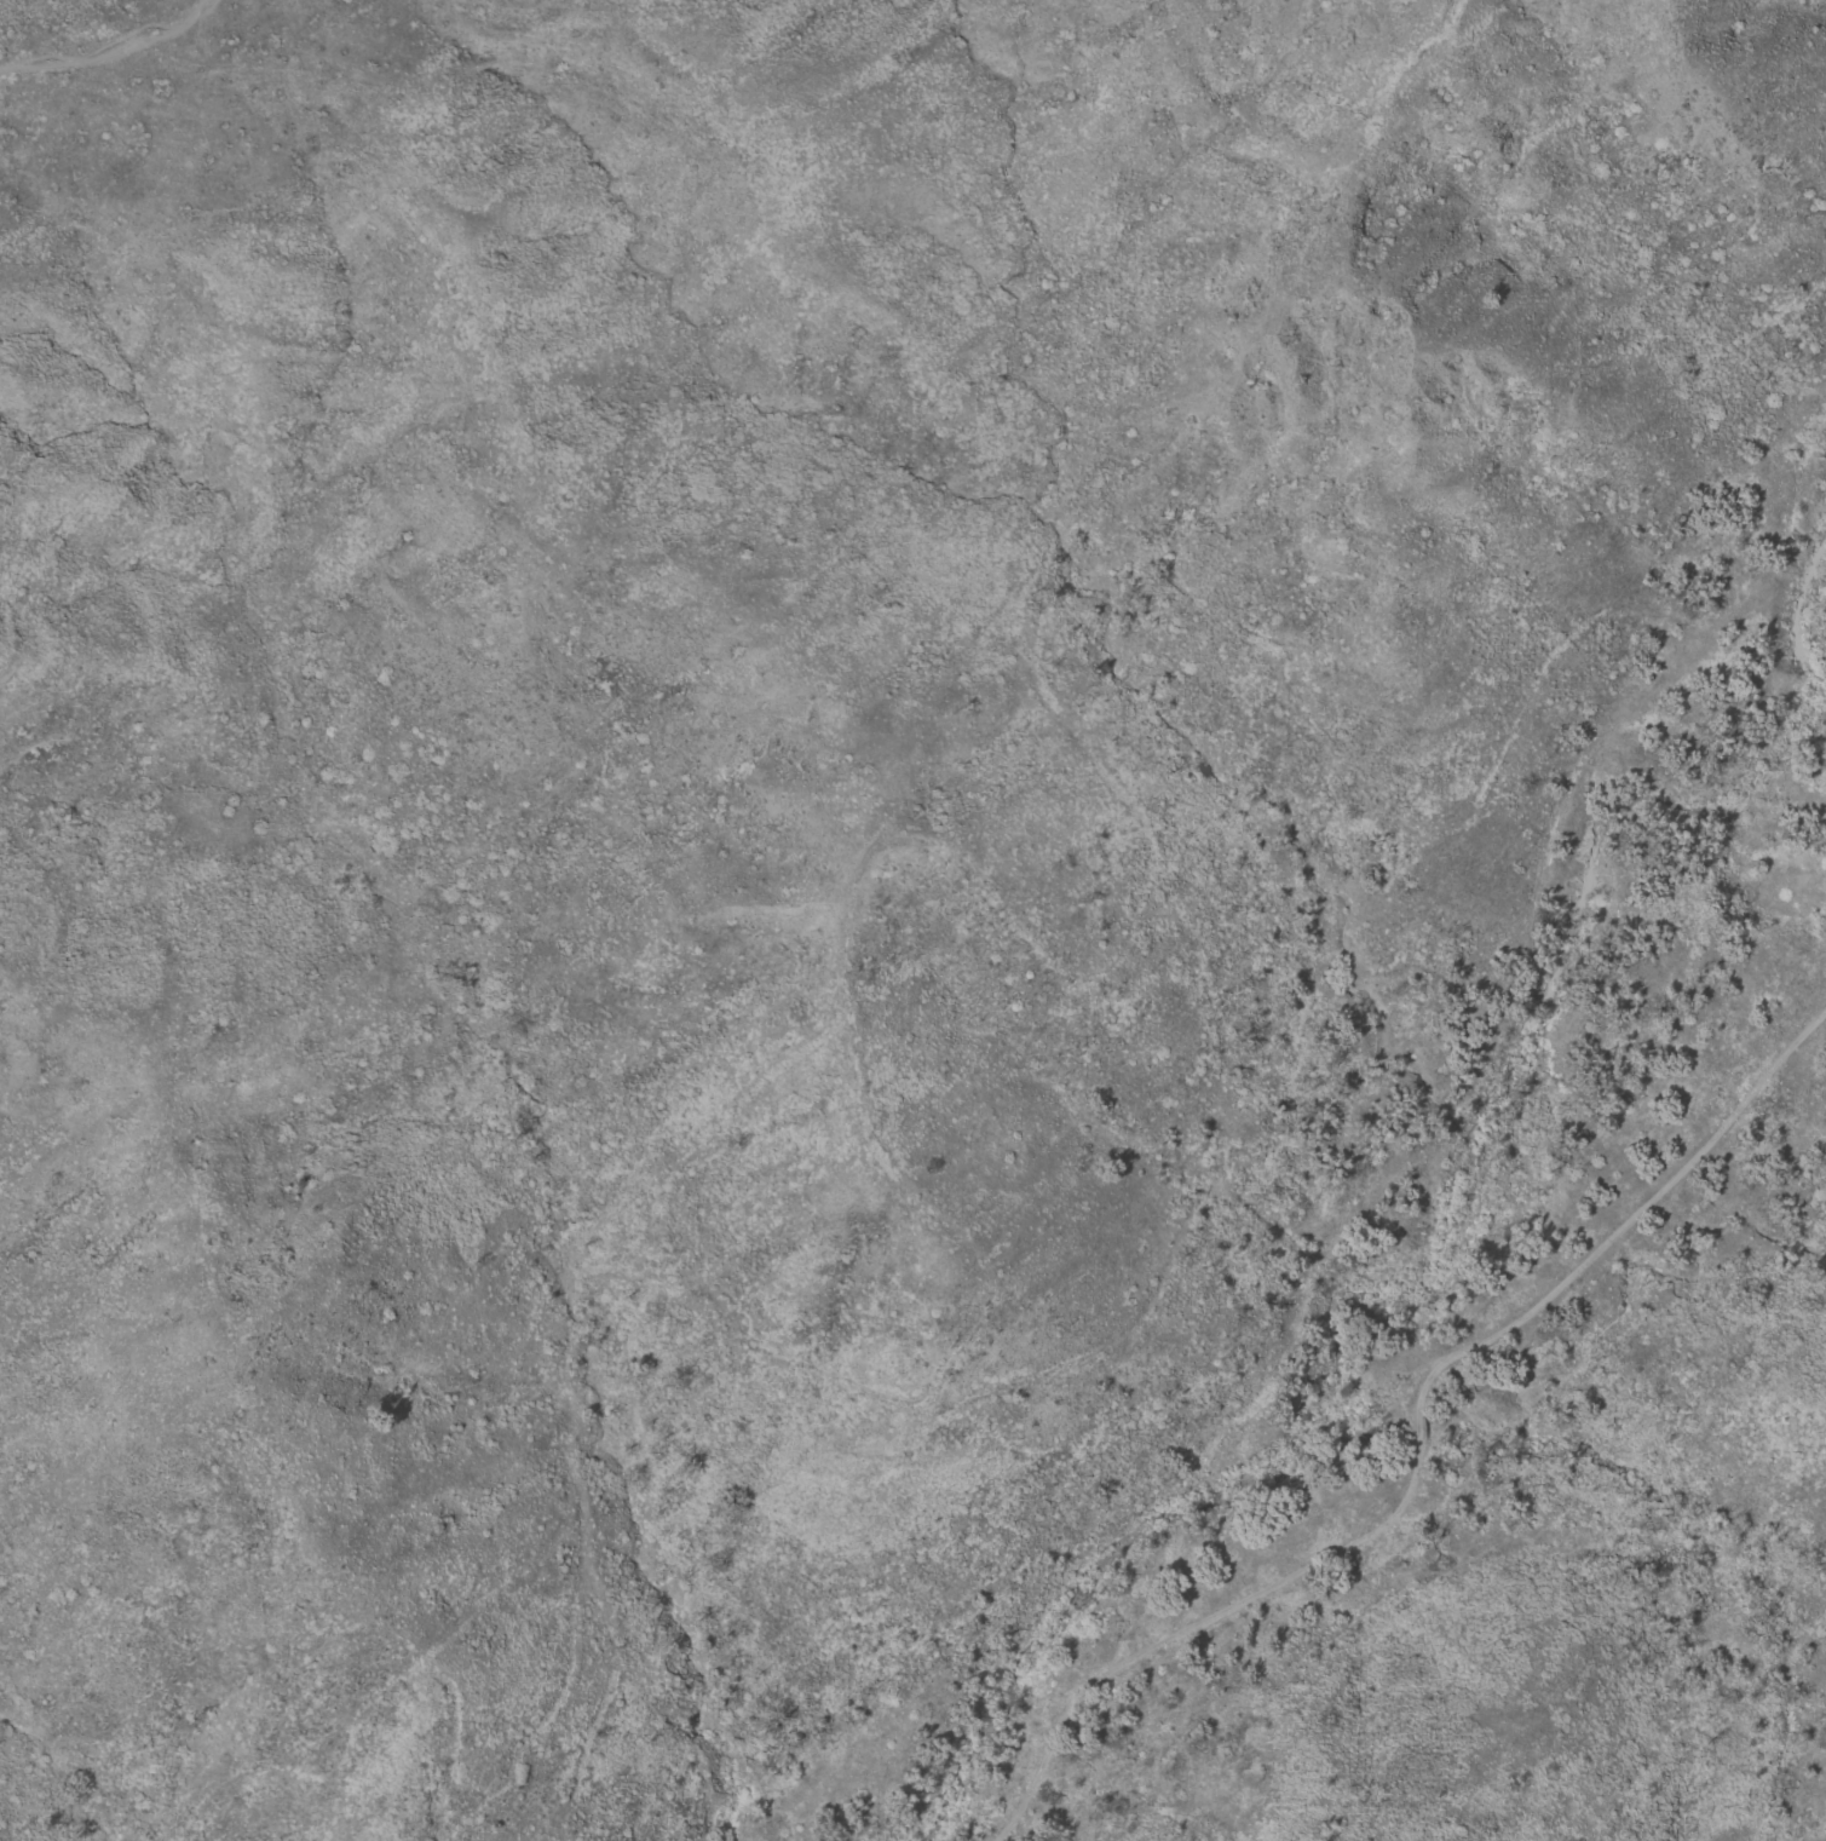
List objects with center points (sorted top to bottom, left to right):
road: (113, 58)
road: (1421, 1448)

